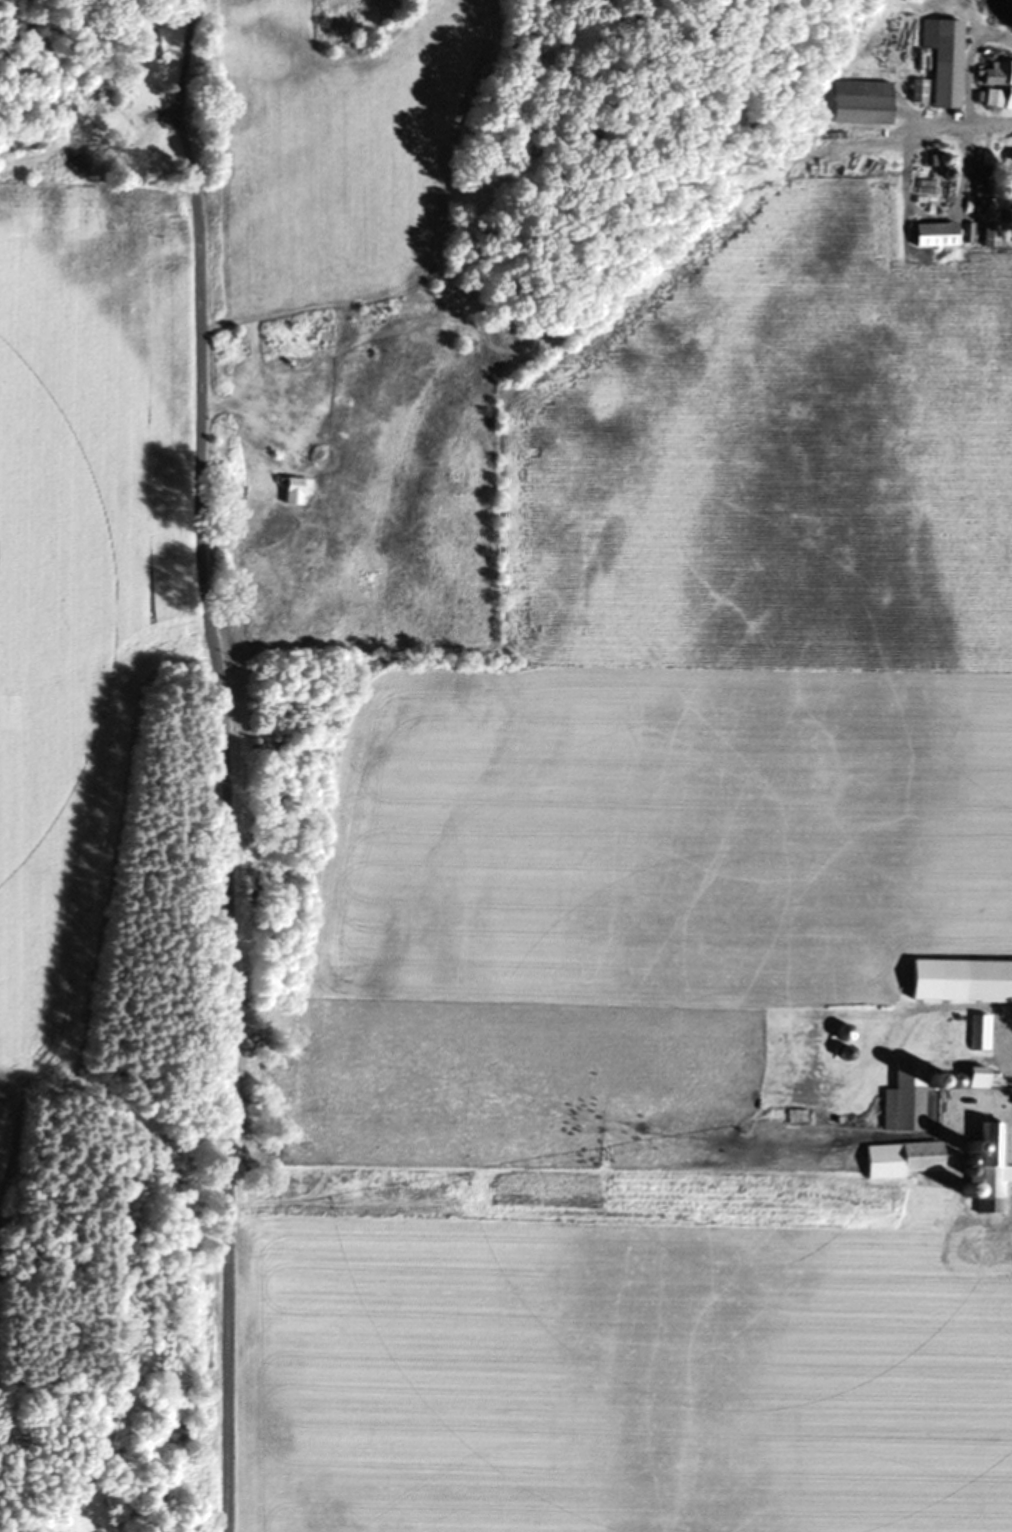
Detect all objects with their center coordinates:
building: (151, 43)
building: (947, 60)
building: (997, 83)
building: (921, 92)
road: (186, 95)
building: (866, 103)
road: (962, 119)
building: (25, 143)
building: (1010, 160)
building: (982, 187)
building: (938, 235)
building: (991, 235)
building: (292, 492)
road: (223, 860)
building: (961, 980)
road: (1011, 1022)
building: (847, 1032)
building: (980, 1032)
building: (923, 1092)
building: (904, 1159)
building: (990, 1169)
building: (923, 1240)

